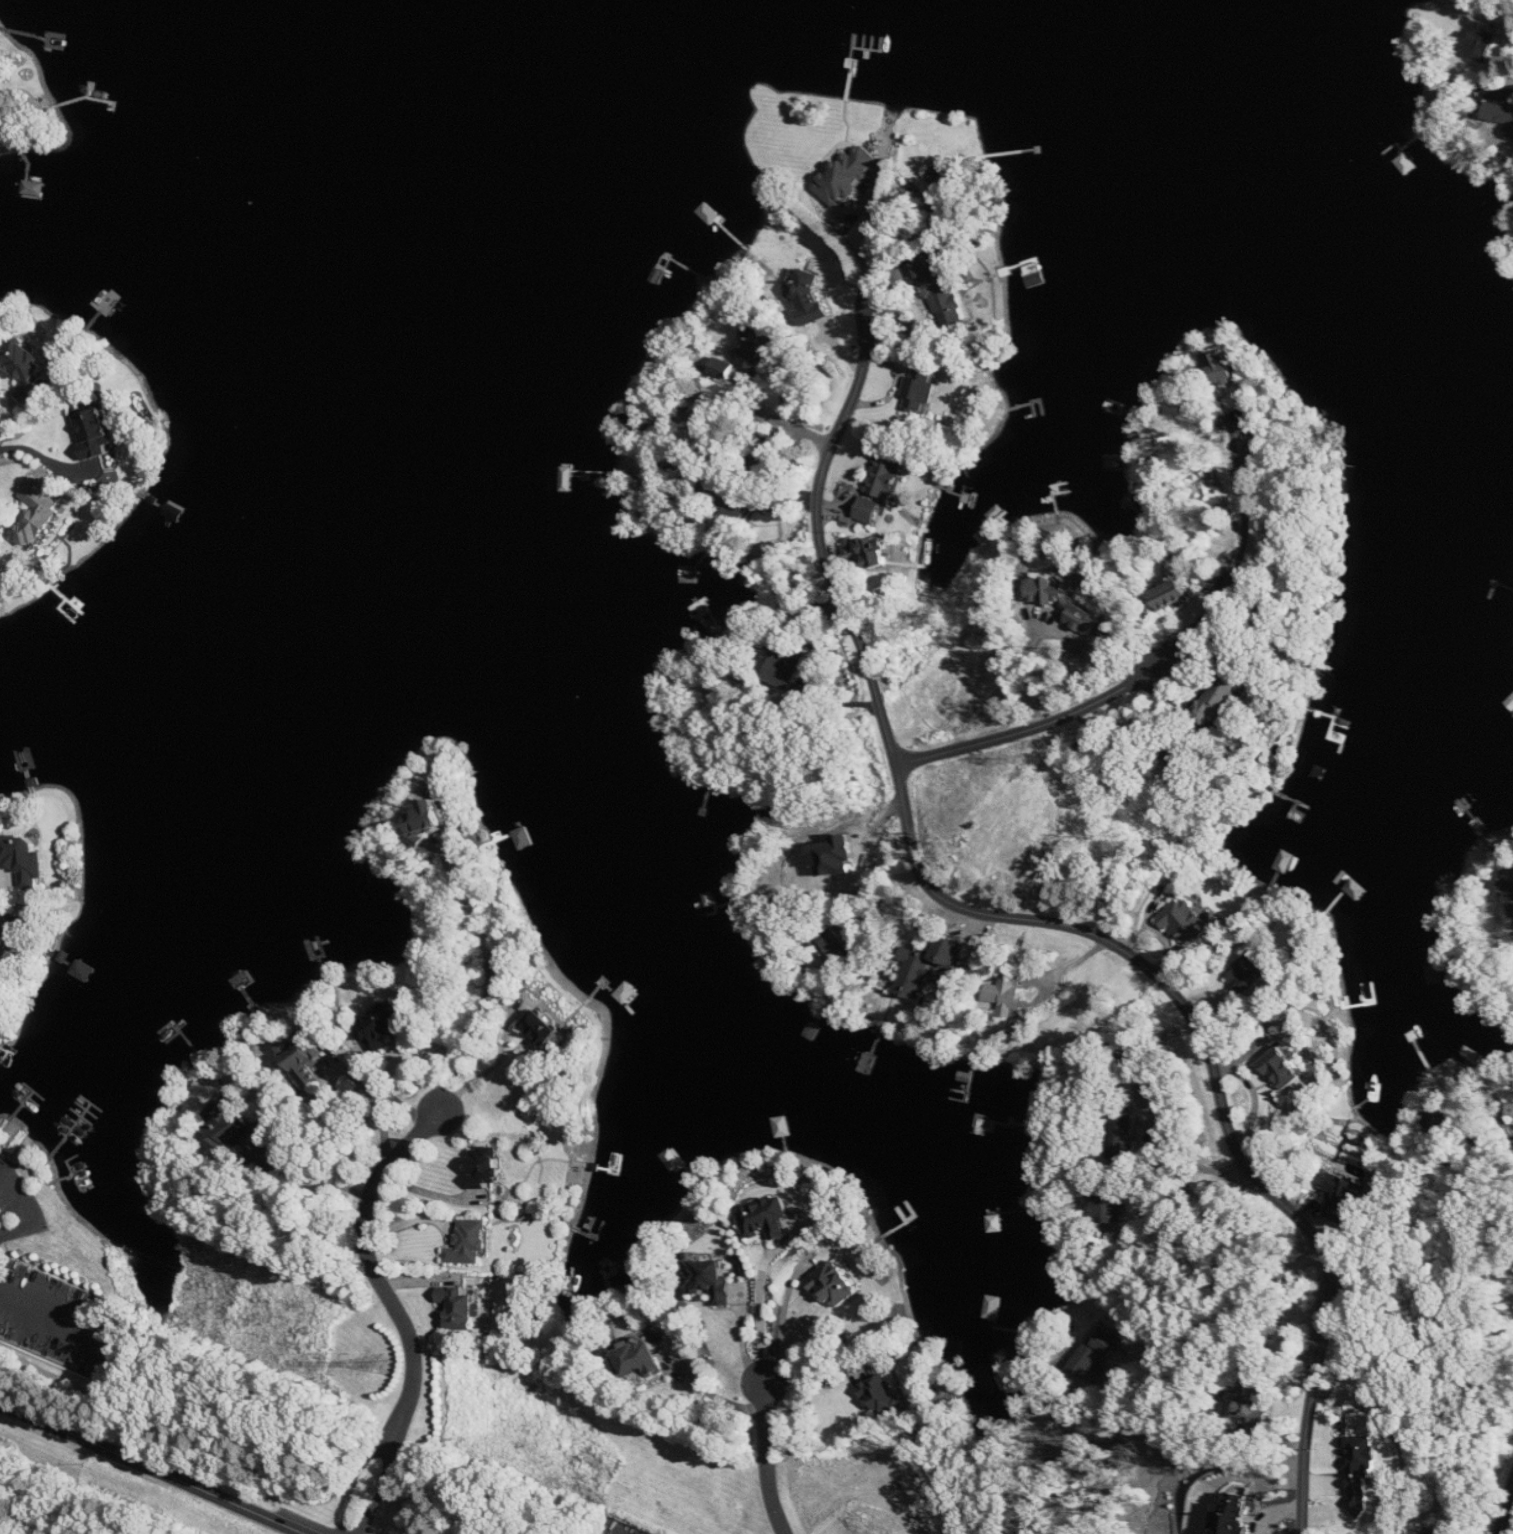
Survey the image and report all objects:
building: (1484, 38)
building: (1500, 114)
building: (848, 176)
road: (867, 235)
building: (943, 291)
building: (810, 298)
building: (758, 346)
building: (27, 366)
building: (723, 368)
building: (1221, 368)
building: (921, 391)
road: (747, 408)
road: (23, 415)
building: (96, 429)
road: (47, 459)
building: (886, 476)
building: (735, 503)
building: (869, 510)
building: (39, 513)
building: (850, 546)
building: (877, 552)
building: (1048, 588)
building: (1172, 595)
building: (1084, 620)
building: (788, 667)
road: (1031, 669)
road: (1140, 677)
building: (1220, 698)
building: (428, 817)
building: (25, 859)
building: (1285, 861)
road: (872, 882)
building: (1509, 889)
road: (1051, 919)
building: (1187, 921)
building: (6, 932)
building: (837, 945)
building: (926, 964)
building: (1250, 973)
road: (488, 982)
building: (1006, 996)
building: (383, 1023)
building: (543, 1027)
building: (302, 1057)
building: (1283, 1069)
road: (487, 1073)
road: (392, 1096)
road: (375, 1101)
building: (1438, 1121)
road: (1144, 1128)
building: (244, 1129)
building: (1121, 1140)
road: (1487, 1146)
building: (488, 1169)
road: (310, 1179)
road: (430, 1191)
building: (1346, 1197)
building: (1109, 1210)
road: (27, 1212)
building: (769, 1219)
road: (415, 1220)
road: (1197, 1233)
building: (472, 1242)
road: (376, 1271)
road: (431, 1278)
building: (712, 1280)
building: (834, 1281)
road: (765, 1306)
building: (461, 1308)
road: (786, 1315)
road: (58, 1316)
road: (1226, 1319)
road: (747, 1343)
building: (1095, 1354)
building: (639, 1361)
power tower: (386, 1365)
road: (816, 1382)
building: (884, 1393)
road: (719, 1398)
building: (1251, 1404)
road: (386, 1451)
road: (779, 1459)
road: (154, 1468)
building: (1363, 1471)
park: (87, 1495)
road: (1272, 1504)
road: (1507, 1514)

